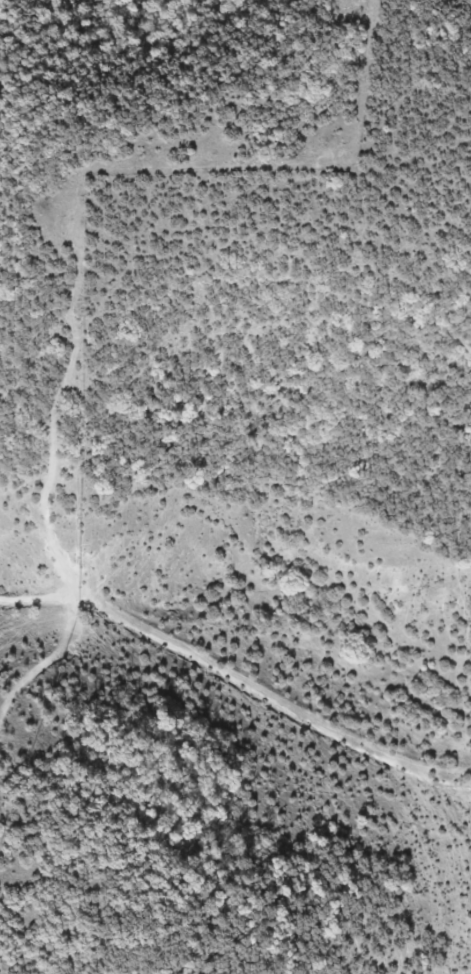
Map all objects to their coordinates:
road: (237, 687)

